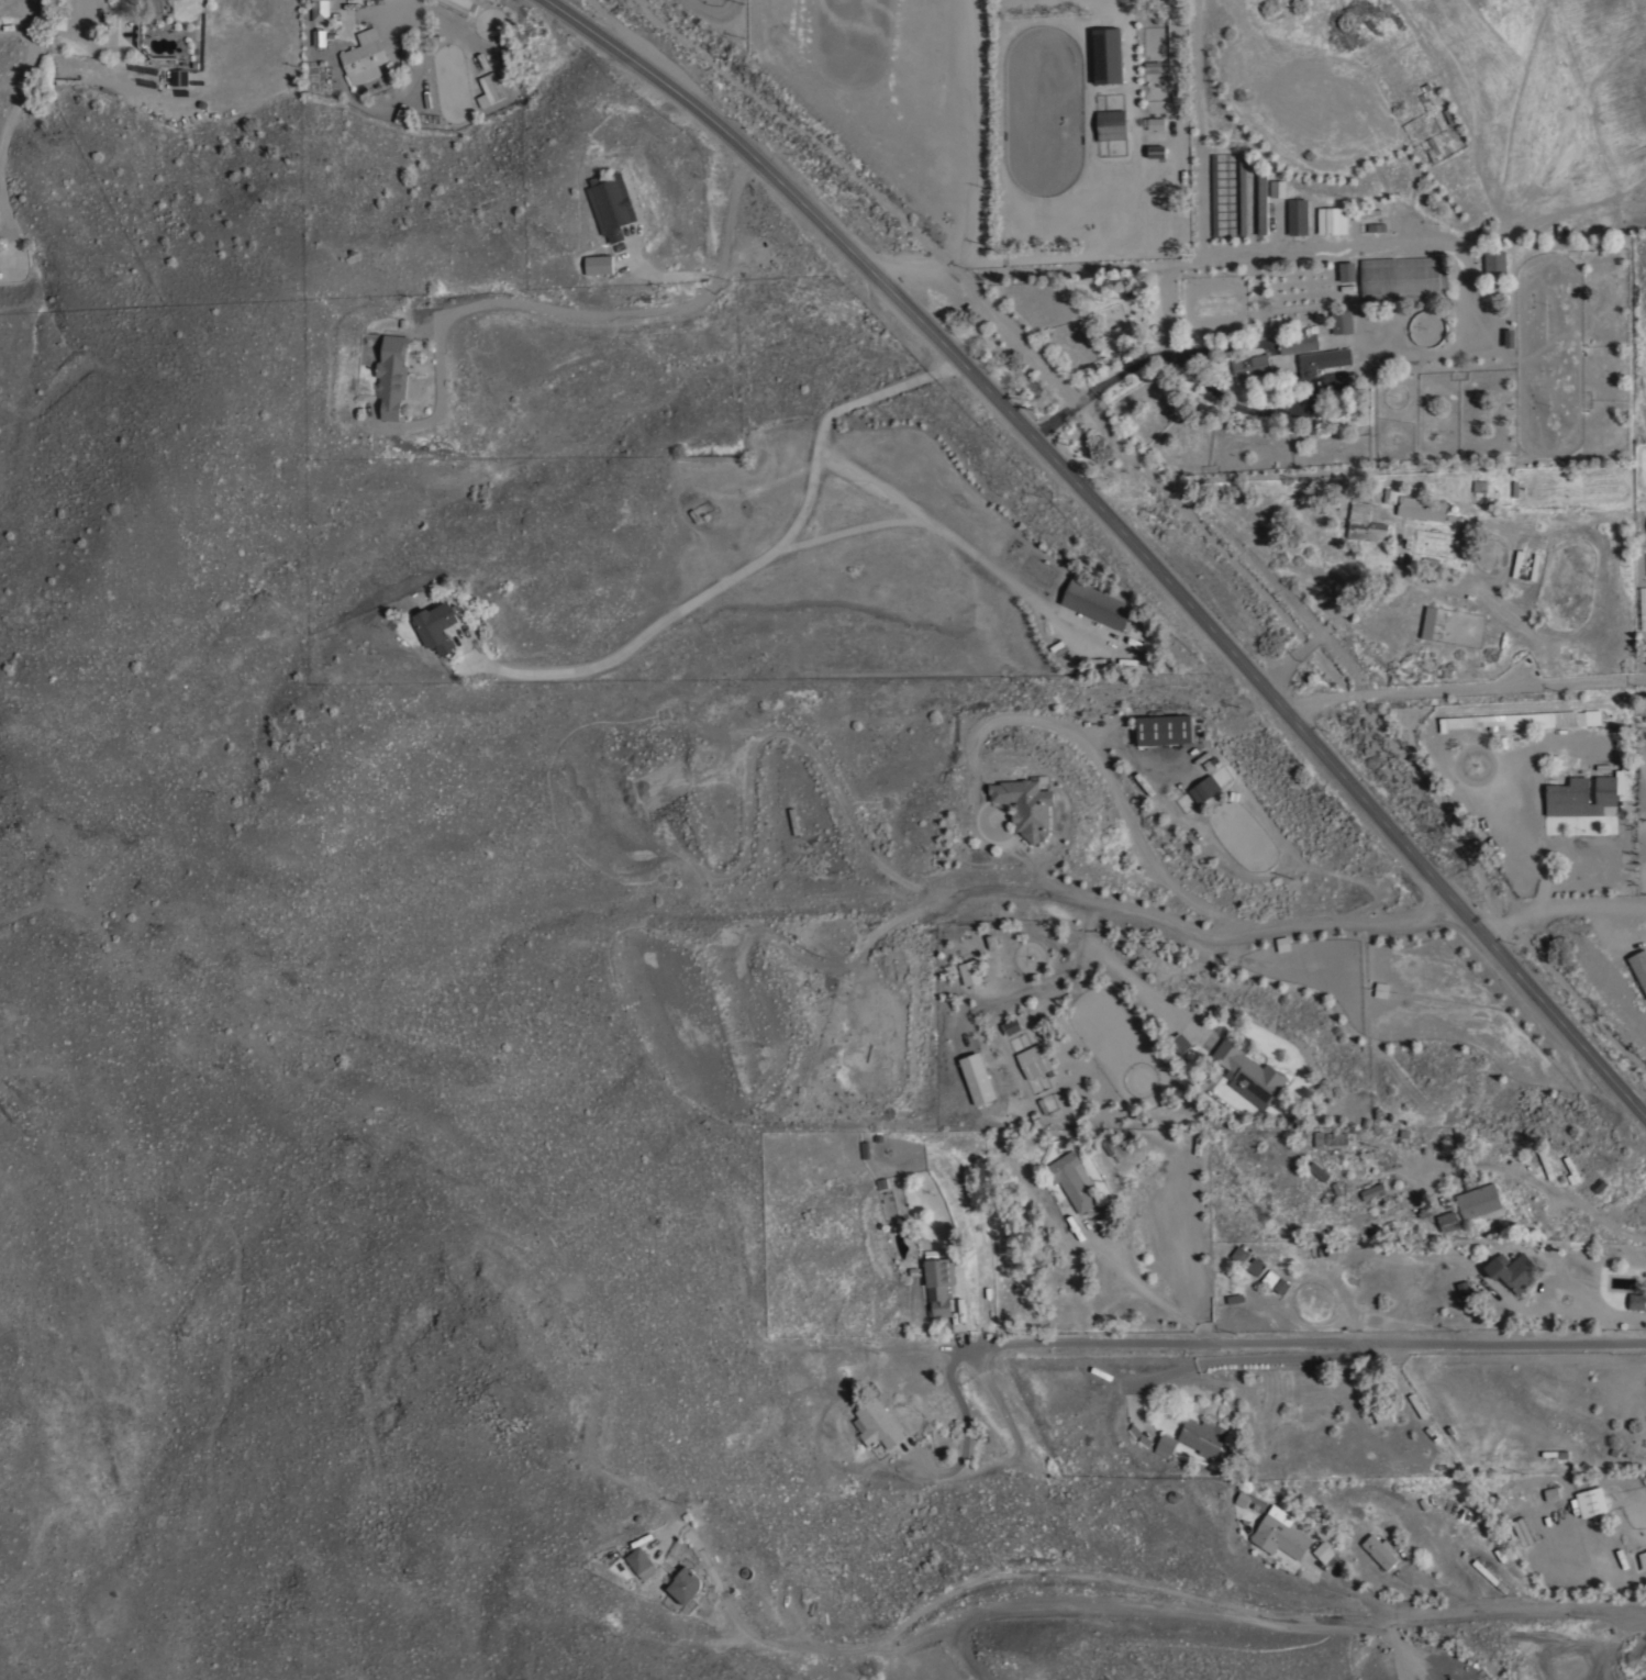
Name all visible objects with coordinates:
building: (456, 3)
building: (154, 7)
building: (320, 10)
building: (59, 21)
road: (616, 25)
building: (319, 36)
building: (364, 55)
building: (1108, 55)
building: (1153, 66)
building: (141, 68)
building: (179, 75)
building: (489, 88)
building: (1156, 122)
road: (12, 124)
building: (1111, 124)
building: (1432, 149)
building: (1156, 152)
road: (971, 180)
building: (1275, 189)
building: (1242, 193)
building: (1213, 194)
building: (1261, 201)
building: (610, 203)
building: (1297, 215)
building: (1332, 220)
building: (1376, 226)
road: (1206, 249)
road: (637, 258)
building: (1494, 260)
building: (599, 265)
building: (1347, 270)
road: (683, 275)
building: (1404, 278)
road: (648, 313)
building: (1342, 322)
building: (1509, 337)
building: (1298, 343)
road: (438, 347)
building: (1323, 360)
building: (1252, 367)
road: (1131, 369)
building: (391, 375)
building: (1477, 490)
building: (1421, 508)
building: (1365, 523)
road: (1121, 529)
road: (855, 532)
road: (955, 543)
building: (1516, 563)
road: (760, 564)
building: (1534, 566)
building: (1097, 603)
building: (1426, 622)
road: (1327, 623)
building: (437, 626)
building: (1138, 643)
building: (1135, 660)
road: (1466, 679)
building: (1593, 717)
building: (1645, 719)
building: (1512, 721)
building: (1165, 728)
road: (1110, 779)
building: (1204, 789)
building: (1605, 790)
building: (1569, 792)
building: (1025, 805)
road: (943, 900)
road: (1293, 928)
building: (1282, 943)
building: (1638, 968)
building: (967, 972)
building: (1381, 989)
building: (1011, 1026)
building: (1179, 1043)
building: (1034, 1060)
building: (1248, 1073)
building: (980, 1088)
building: (1317, 1170)
building: (1072, 1179)
building: (1372, 1191)
building: (1478, 1200)
road: (1572, 1203)
building: (1448, 1221)
building: (1246, 1259)
building: (1512, 1270)
building: (1274, 1281)
building: (938, 1283)
road: (1141, 1288)
building: (1466, 1288)
building: (1636, 1301)
road: (1559, 1308)
road: (960, 1328)
road: (1304, 1345)
road: (1236, 1360)
building: (1416, 1405)
building: (1379, 1417)
road: (965, 1420)
building: (877, 1424)
building: (1203, 1436)
road: (1017, 1440)
building: (1166, 1443)
building: (1549, 1493)
building: (1243, 1500)
building: (1591, 1502)
building: (1280, 1533)
building: (1591, 1535)
road: (693, 1543)
building: (1379, 1550)
building: (1323, 1551)
building: (1643, 1560)
building: (641, 1561)
building: (1484, 1572)
road: (1027, 1577)
building: (686, 1584)
road: (1367, 1596)
road: (1508, 1609)

